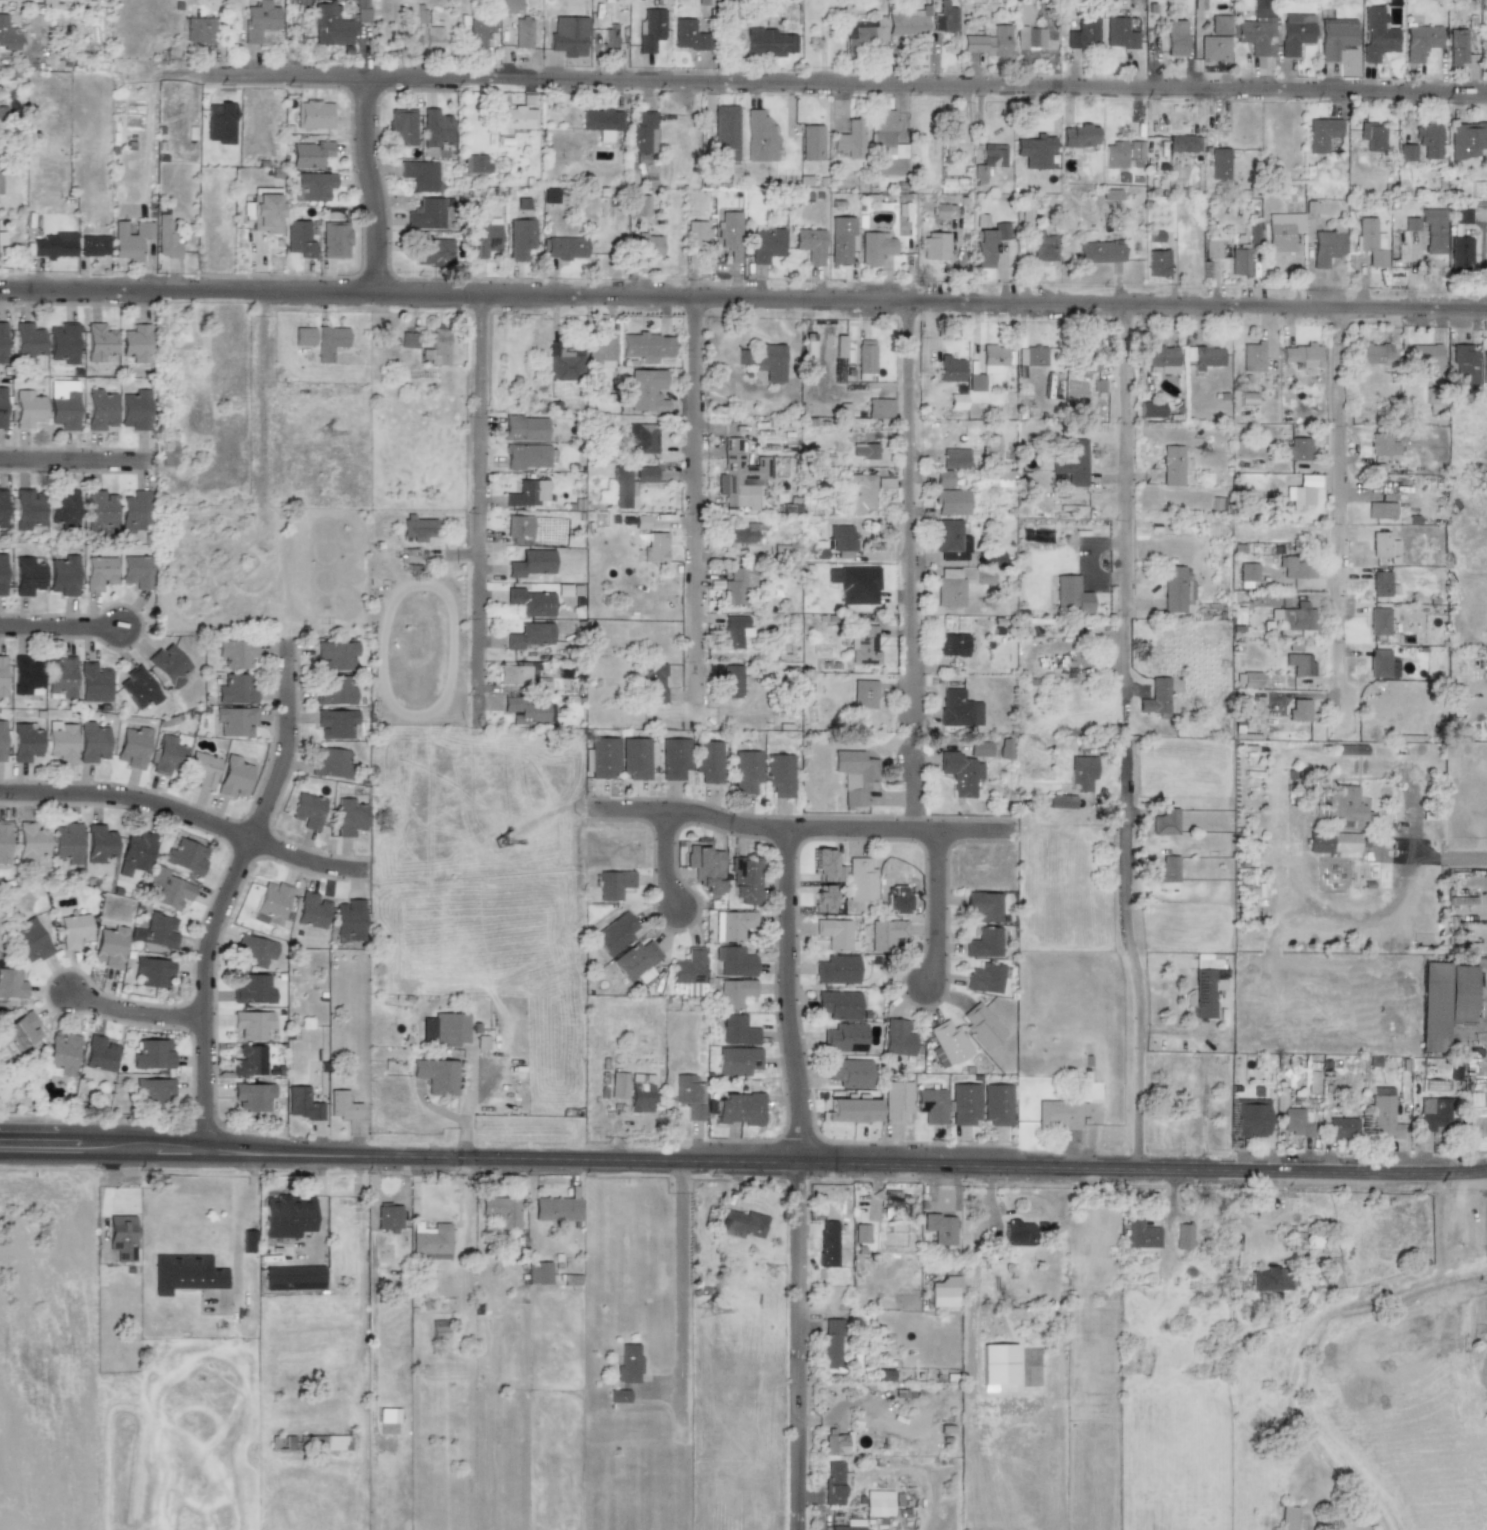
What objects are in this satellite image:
building: (510, 6)
building: (944, 18)
building: (259, 20)
building: (908, 22)
building: (35, 23)
building: (1220, 24)
building: (331, 26)
building: (650, 29)
building: (1258, 29)
building: (199, 30)
building: (478, 31)
building: (522, 32)
building: (1295, 32)
building: (864, 33)
building: (1119, 33)
building: (1084, 34)
building: (8, 35)
building: (688, 35)
building: (1376, 35)
building: (568, 36)
building: (1335, 36)
building: (1175, 37)
building: (1030, 38)
building: (433, 39)
building: (610, 41)
building: (1001, 41)
building: (1420, 41)
building: (769, 42)
building: (977, 43)
building: (1457, 47)
building: (1214, 48)
power tower: (171, 63)
road: (851, 84)
building: (2, 113)
building: (314, 114)
building: (514, 119)
building: (601, 122)
building: (220, 123)
building: (401, 127)
building: (435, 128)
building: (642, 133)
building: (726, 133)
building: (1322, 134)
building: (1079, 136)
building: (1372, 136)
building: (760, 137)
building: (850, 139)
building: (1467, 139)
building: (1428, 140)
building: (811, 142)
building: (886, 143)
building: (1183, 143)
building: (1035, 151)
building: (1135, 151)
building: (1407, 152)
building: (309, 154)
building: (993, 155)
building: (1115, 155)
building: (1219, 164)
building: (476, 165)
building: (419, 175)
building: (313, 186)
road: (367, 186)
building: (1110, 193)
building: (550, 195)
building: (639, 206)
building: (266, 210)
building: (943, 210)
building: (426, 214)
building: (1462, 215)
building: (1411, 224)
building: (1001, 230)
building: (1433, 230)
building: (1282, 231)
building: (697, 233)
building: (730, 234)
building: (166, 237)
building: (484, 237)
building: (2, 238)
building: (299, 238)
building: (335, 239)
building: (520, 239)
building: (841, 239)
building: (130, 240)
building: (1371, 242)
building: (54, 245)
building: (94, 245)
building: (766, 245)
building: (810, 245)
building: (1327, 245)
building: (935, 246)
building: (1042, 246)
building: (875, 247)
building: (566, 248)
building: (984, 248)
building: (1212, 249)
building: (434, 251)
building: (1100, 252)
building: (1460, 254)
building: (1239, 261)
building: (1156, 264)
road: (743, 298)
building: (303, 336)
building: (408, 340)
building: (27, 341)
building: (2, 342)
building: (98, 342)
building: (329, 342)
building: (63, 343)
building: (135, 343)
building: (437, 346)
building: (646, 346)
building: (839, 346)
building: (601, 349)
building: (1373, 354)
building: (1031, 355)
building: (1302, 355)
building: (1426, 355)
building: (866, 356)
building: (743, 357)
building: (1203, 357)
building: (1252, 357)
building: (993, 358)
building: (1162, 358)
building: (770, 362)
building: (563, 363)
building: (1464, 364)
building: (1484, 364)
building: (1086, 365)
building: (950, 369)
building: (976, 382)
building: (646, 390)
building: (2, 407)
building: (879, 408)
building: (27, 409)
building: (1150, 409)
building: (63, 410)
building: (99, 410)
building: (134, 410)
building: (524, 428)
building: (642, 438)
building: (1382, 445)
building: (990, 447)
building: (1298, 448)
building: (864, 450)
building: (168, 452)
power tower: (336, 452)
building: (527, 456)
building: (955, 458)
road: (1125, 460)
road: (77, 461)
building: (1072, 462)
building: (1172, 465)
building: (645, 474)
building: (741, 476)
building: (942, 479)
building: (621, 486)
building: (1302, 492)
building: (528, 493)
building: (861, 493)
building: (950, 502)
building: (2, 508)
building: (63, 508)
building: (28, 509)
building: (1380, 510)
building: (100, 511)
building: (134, 511)
road: (478, 513)
road: (695, 515)
road: (910, 518)
road: (1340, 525)
building: (519, 527)
building: (418, 528)
building: (740, 534)
building: (842, 539)
building: (951, 541)
building: (1383, 546)
building: (656, 547)
building: (531, 563)
building: (1296, 566)
building: (136, 571)
building: (99, 572)
building: (2, 573)
building: (62, 575)
building: (1248, 575)
building: (27, 576)
building: (1380, 583)
building: (739, 584)
building: (855, 584)
building: (949, 588)
building: (1173, 589)
building: (1068, 594)
building: (531, 602)
building: (1298, 617)
building: (1378, 621)
road: (60, 630)
building: (735, 631)
building: (529, 635)
building: (951, 644)
building: (863, 645)
building: (236, 653)
building: (335, 655)
building: (1379, 663)
building: (169, 664)
building: (1299, 664)
road: (1123, 666)
building: (514, 674)
building: (1, 675)
building: (25, 676)
building: (60, 676)
building: (1247, 679)
building: (731, 681)
building: (93, 682)
building: (653, 683)
building: (138, 688)
building: (235, 690)
building: (333, 690)
building: (864, 694)
building: (1156, 697)
building: (526, 709)
building: (958, 709)
building: (1299, 710)
building: (235, 721)
building: (335, 723)
building: (1, 740)
building: (61, 741)
building: (25, 742)
building: (92, 742)
building: (133, 747)
building: (1005, 748)
building: (979, 749)
building: (1351, 750)
building: (168, 755)
building: (636, 758)
building: (674, 758)
building: (708, 761)
building: (330, 762)
building: (202, 769)
building: (747, 772)
building: (960, 773)
building: (1081, 773)
building: (779, 774)
building: (854, 775)
building: (234, 777)
road: (911, 792)
building: (1061, 801)
building: (1346, 807)
building: (308, 810)
building: (349, 817)
road: (188, 819)
building: (1165, 822)
road: (800, 830)
building: (30, 841)
power tower: (501, 841)
building: (4, 842)
building: (1332, 842)
building: (66, 843)
building: (98, 843)
building: (137, 849)
road: (1401, 855)
building: (185, 856)
road: (665, 862)
building: (825, 866)
building: (705, 868)
building: (1165, 870)
building: (744, 880)
building: (860, 880)
building: (614, 884)
building: (168, 888)
road: (228, 891)
building: (823, 899)
building: (271, 903)
building: (983, 906)
building: (312, 910)
road: (939, 911)
building: (349, 921)
building: (731, 924)
building: (74, 930)
building: (156, 932)
building: (834, 933)
building: (615, 934)
building: (885, 934)
building: (30, 941)
building: (983, 943)
building: (109, 946)
building: (254, 950)
building: (636, 961)
building: (734, 961)
road: (1133, 962)
building: (836, 969)
building: (153, 971)
building: (689, 971)
building: (984, 978)
building: (11, 984)
building: (252, 989)
building: (735, 993)
building: (1202, 993)
building: (1445, 1001)
building: (837, 1005)
road: (133, 1012)
building: (252, 1024)
building: (981, 1026)
building: (450, 1028)
building: (738, 1031)
building: (19, 1033)
building: (843, 1038)
building: (896, 1038)
building: (947, 1044)
building: (62, 1053)
building: (99, 1053)
building: (152, 1054)
building: (250, 1061)
building: (738, 1061)
building: (849, 1072)
building: (437, 1076)
building: (618, 1085)
building: (154, 1091)
building: (640, 1093)
building: (688, 1095)
building: (252, 1096)
road: (469, 1097)
building: (896, 1102)
building: (302, 1104)
building: (964, 1104)
building: (996, 1104)
building: (930, 1105)
building: (342, 1106)
building: (738, 1109)
building: (850, 1110)
building: (1060, 1113)
building: (1383, 1113)
building: (1434, 1114)
building: (1250, 1117)
building: (1295, 1122)
building: (1342, 1127)
road: (102, 1150)
road: (845, 1167)
road: (800, 1179)
building: (896, 1204)
building: (556, 1209)
building: (502, 1211)
building: (287, 1216)
building: (388, 1217)
building: (741, 1224)
building: (940, 1228)
building: (1017, 1232)
building: (861, 1233)
building: (1140, 1233)
building: (121, 1236)
building: (1183, 1236)
building: (430, 1241)
building: (827, 1243)
building: (185, 1273)
building: (539, 1273)
building: (293, 1277)
building: (1268, 1280)
building: (944, 1292)
power tower: (696, 1293)
road: (683, 1299)
building: (438, 1329)
building: (830, 1344)
building: (628, 1364)
building: (998, 1366)
building: (882, 1374)
building: (618, 1396)
building: (388, 1415)
building: (837, 1442)
building: (833, 1483)
building: (878, 1503)
building: (1287, 1518)
building: (850, 1525)

